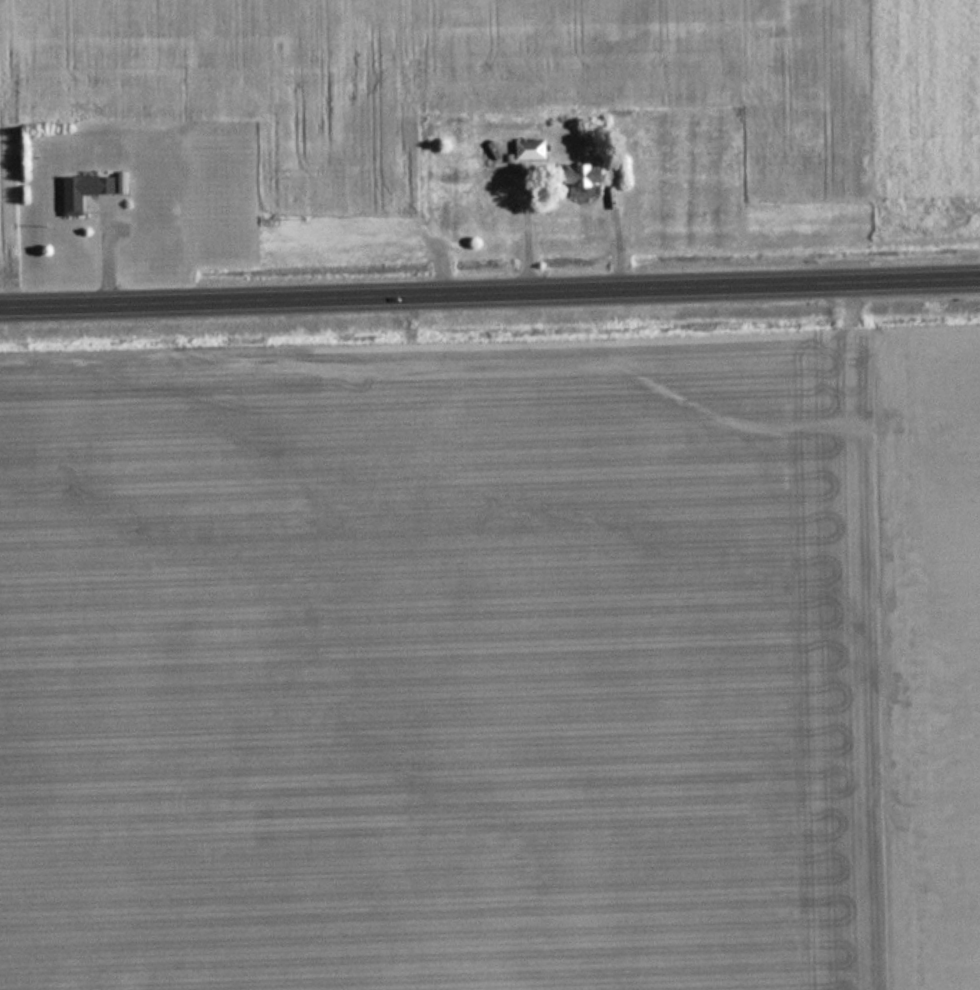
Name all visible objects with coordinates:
building: (533, 150)
building: (588, 176)
building: (87, 191)
road: (490, 292)

